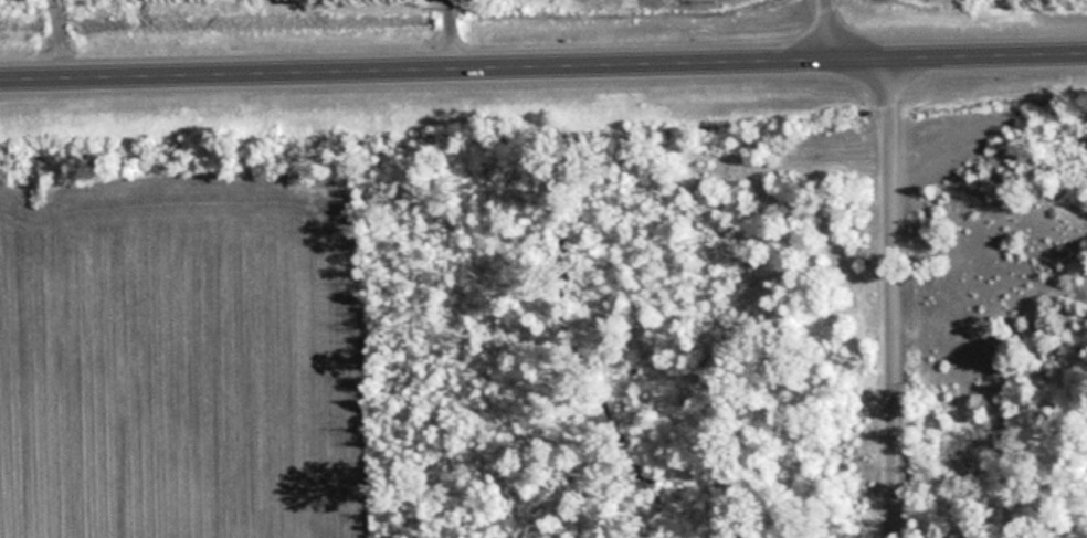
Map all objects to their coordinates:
road: (442, 33)
road: (542, 63)
road: (889, 255)

